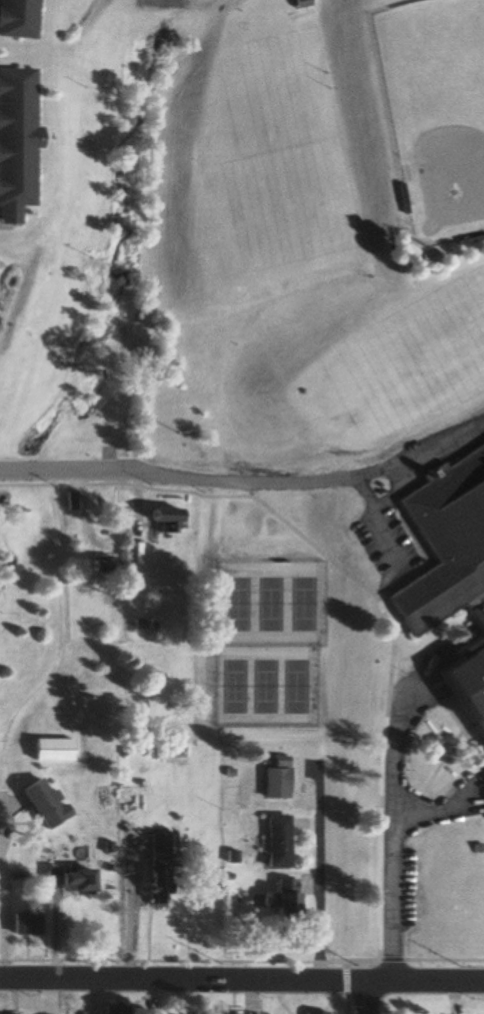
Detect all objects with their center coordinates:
building: (298, 4)
building: (16, 19)
building: (14, 140)
road: (19, 470)
road: (267, 486)
building: (71, 501)
road: (374, 520)
building: (164, 521)
parking lot: (382, 544)
building: (93, 564)
building: (451, 578)
park: (236, 605)
park: (269, 605)
park: (303, 605)
park: (232, 687)
park: (264, 687)
park: (296, 687)
building: (53, 749)
building: (273, 779)
building: (43, 803)
road: (391, 825)
building: (273, 841)
building: (156, 869)
building: (72, 879)
building: (276, 902)
building: (23, 923)
road: (242, 961)
road: (242, 978)
road: (369, 996)
building: (114, 1009)
building: (310, 1012)
building: (221, 1013)

